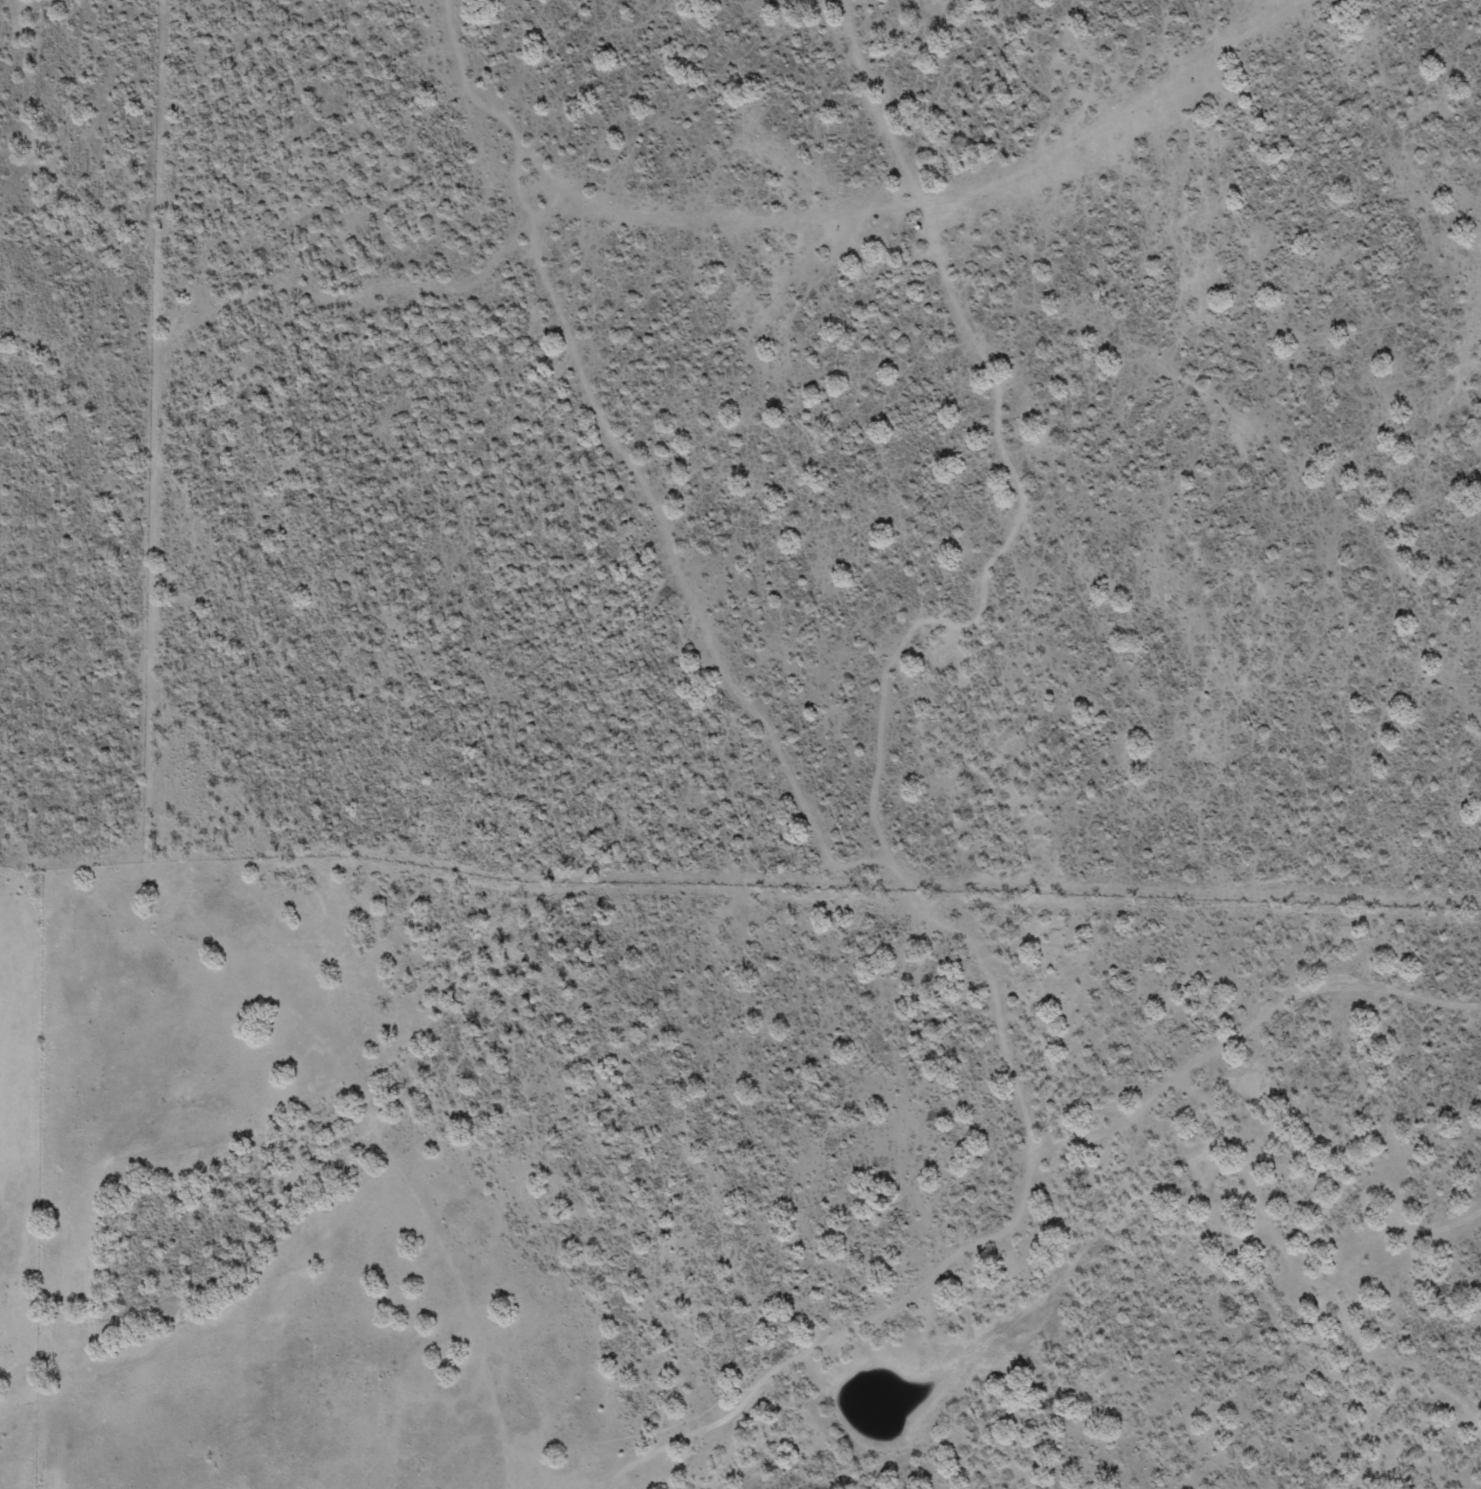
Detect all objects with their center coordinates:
road: (862, 201)

